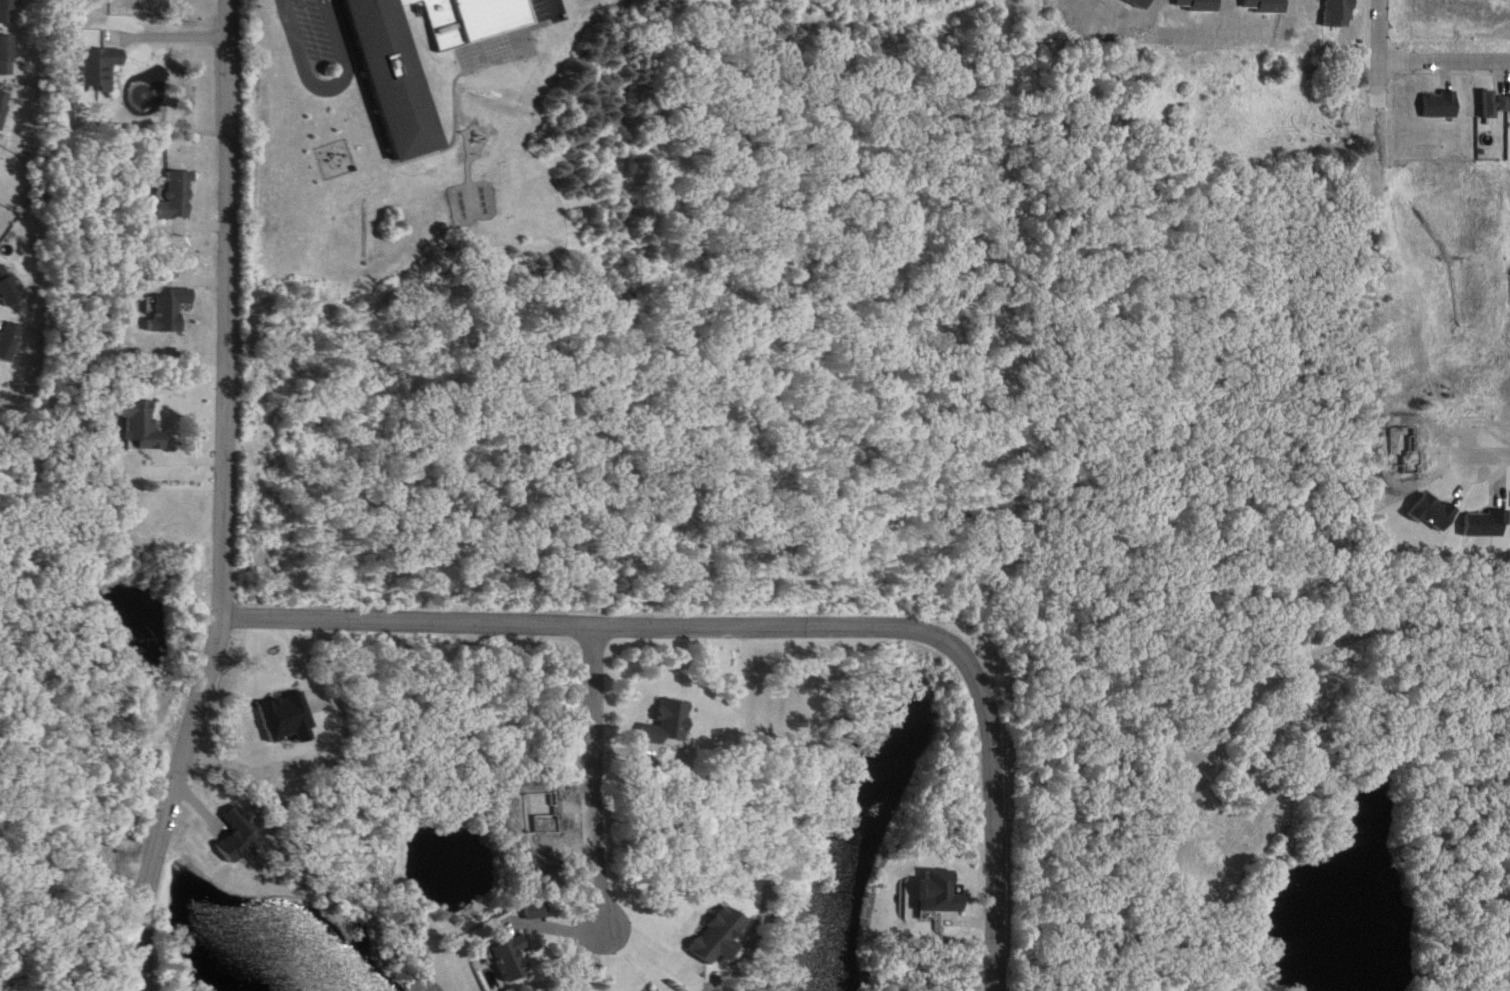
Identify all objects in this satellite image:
building: (7, 11)
building: (462, 13)
parking lot: (314, 30)
road: (171, 34)
building: (8, 56)
road: (1377, 59)
road: (1443, 59)
building: (102, 69)
building: (385, 71)
road: (324, 73)
building: (1496, 103)
building: (5, 107)
building: (178, 195)
building: (9, 287)
building: (170, 310)
building: (11, 342)
building: (145, 427)
road: (1491, 454)
road: (227, 501)
road: (761, 626)
road: (1289, 665)
building: (673, 725)
road: (601, 775)
road: (1500, 822)
building: (1484, 896)
building: (723, 935)
building: (515, 959)

